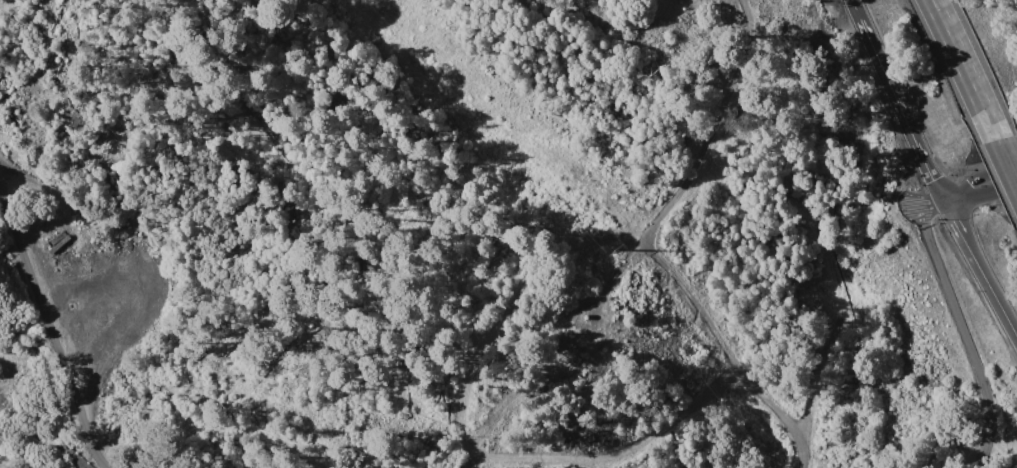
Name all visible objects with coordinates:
road: (856, 8)
road: (962, 69)
road: (900, 108)
road: (1006, 163)
road: (979, 187)
road: (646, 246)
power tower: (616, 249)
road: (978, 270)
road: (52, 328)
road: (960, 329)

